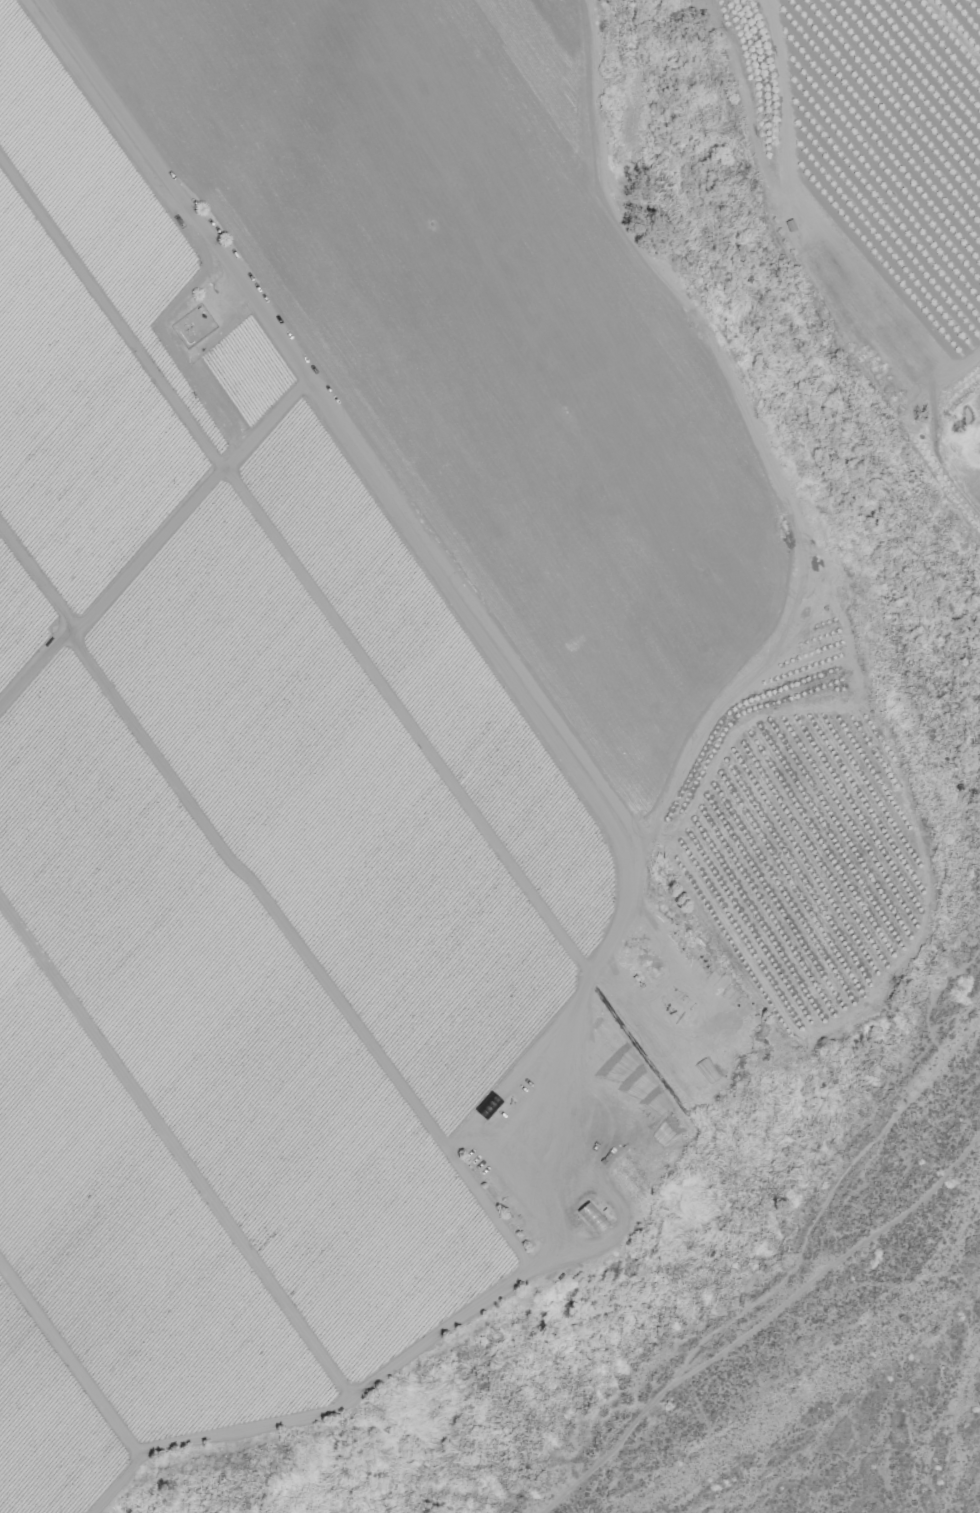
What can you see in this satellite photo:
crop: (361, 714)

